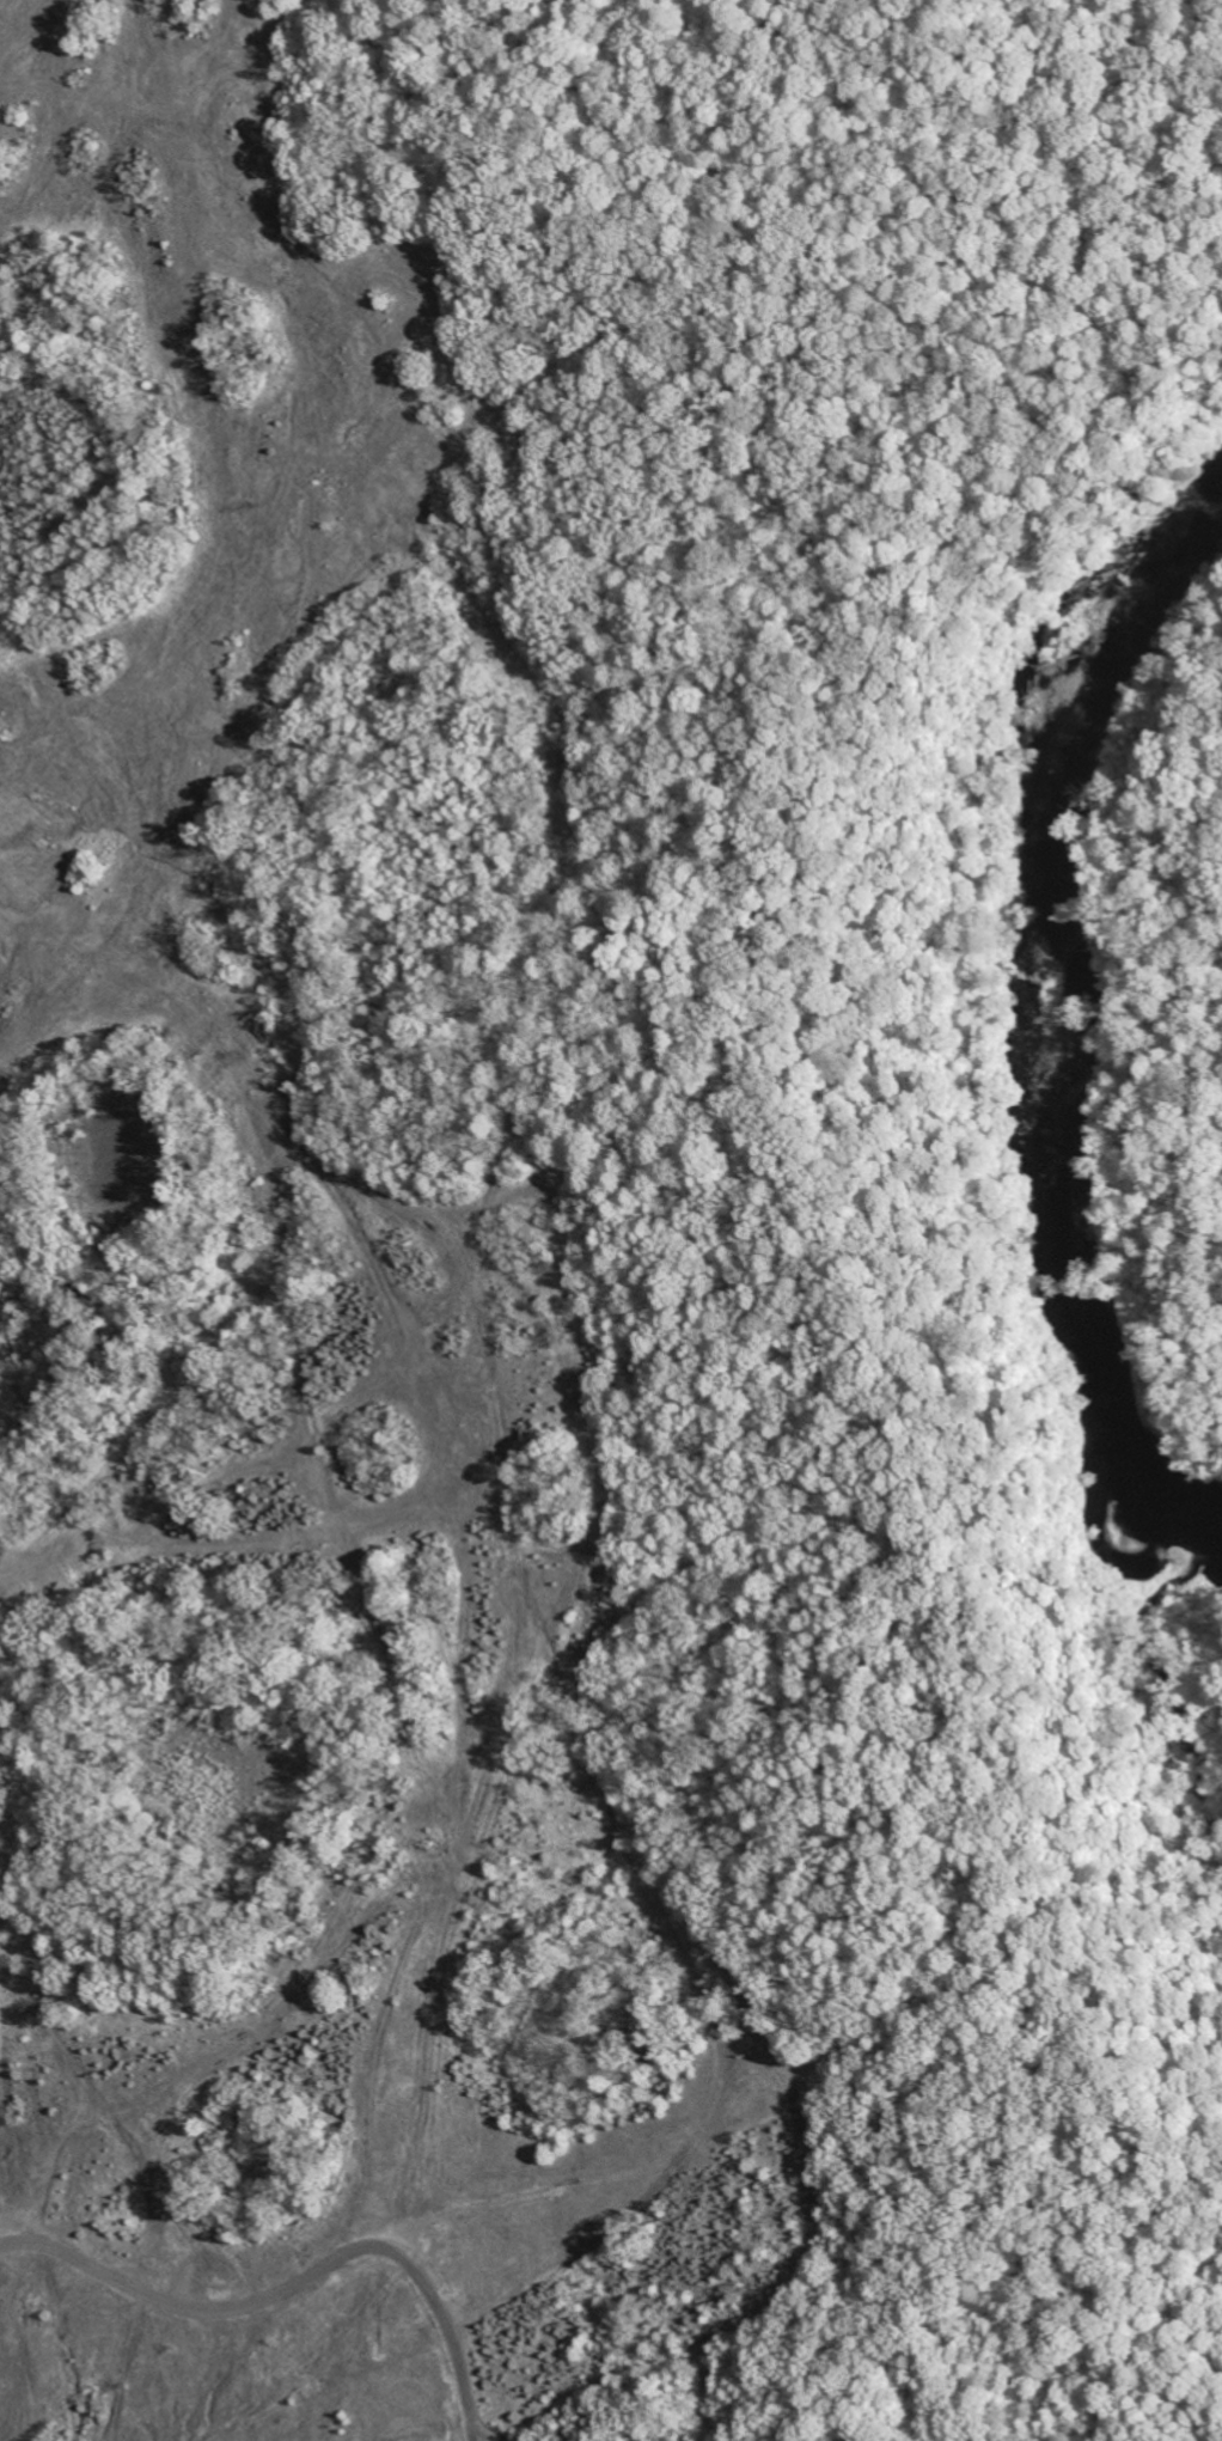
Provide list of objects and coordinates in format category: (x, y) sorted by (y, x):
river: (1069, 1009)

